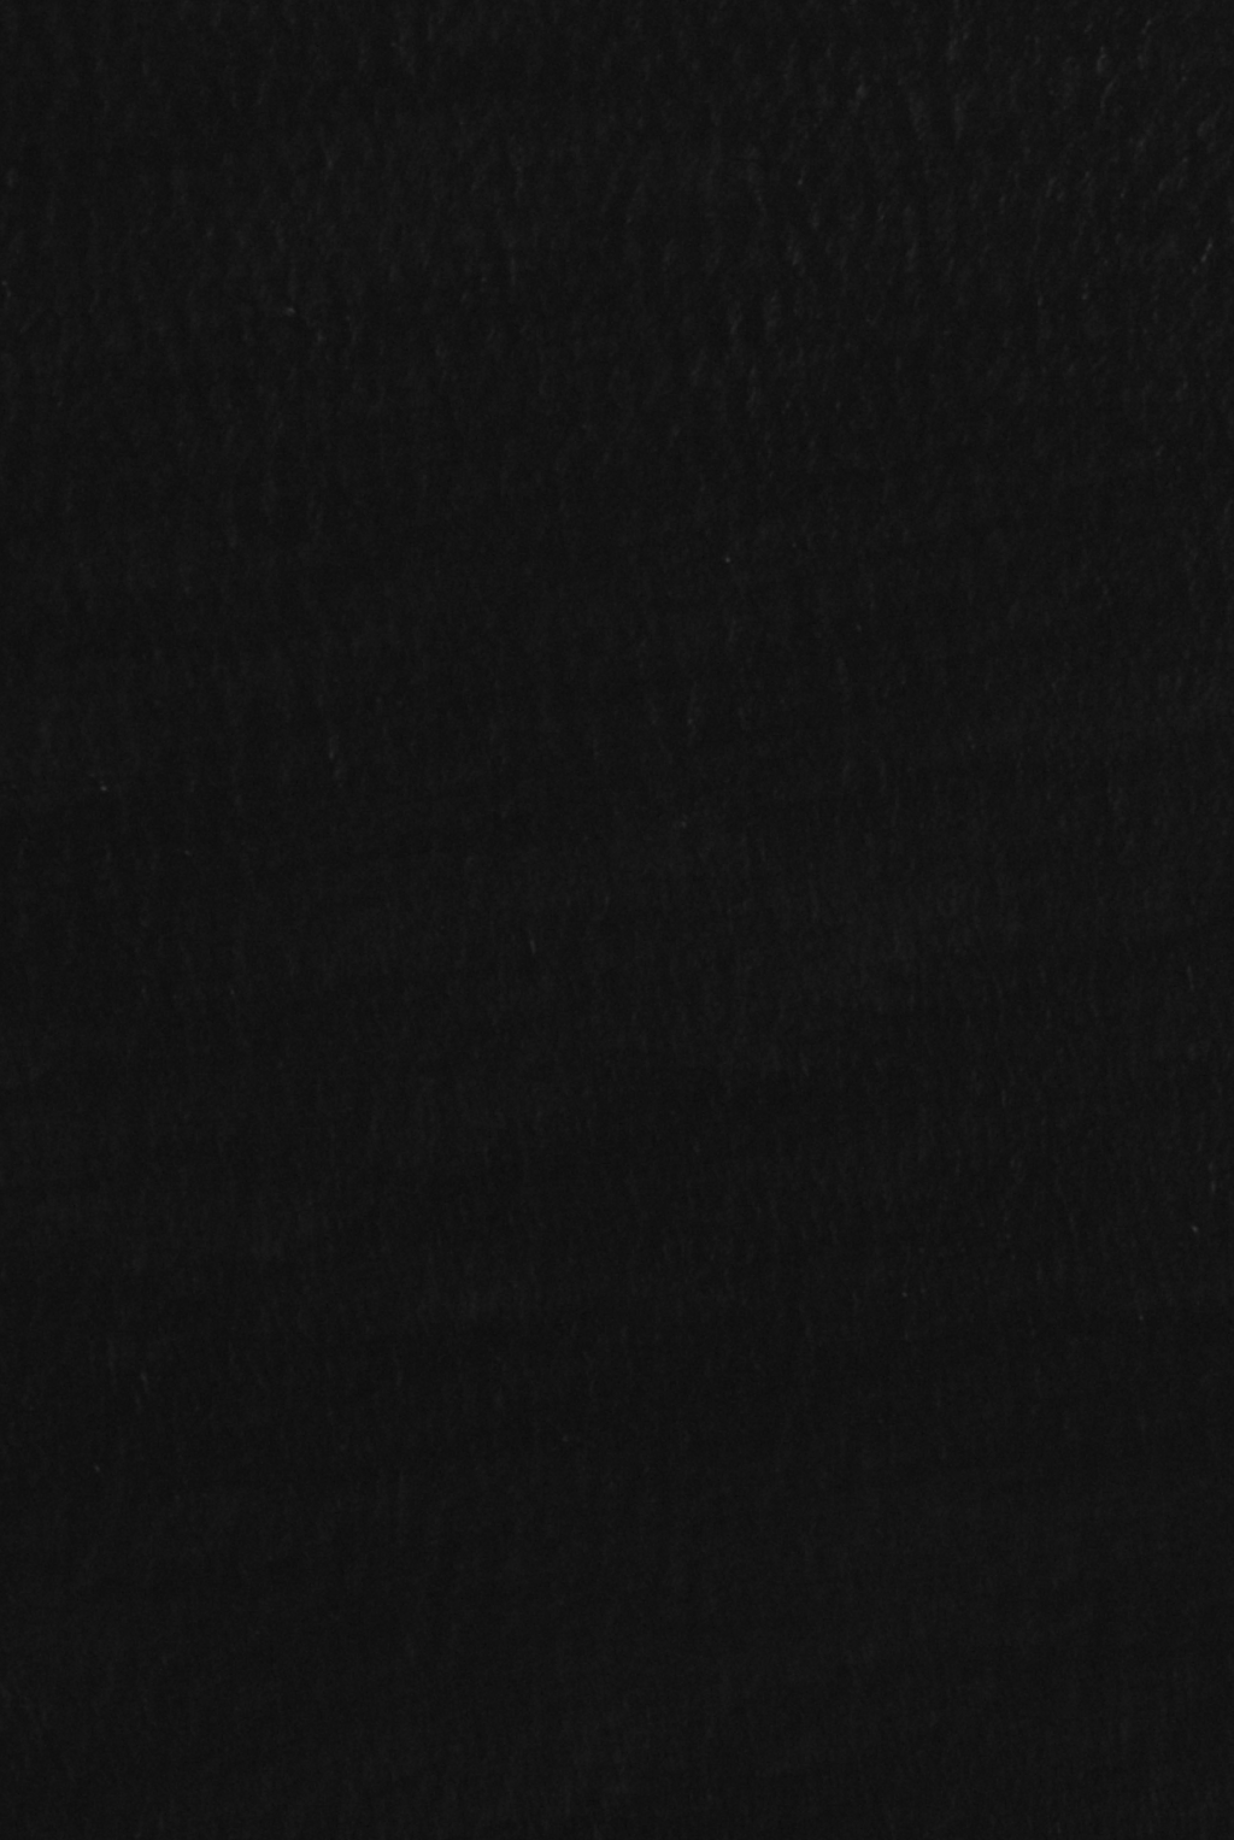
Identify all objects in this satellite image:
river: (606, 1152)

